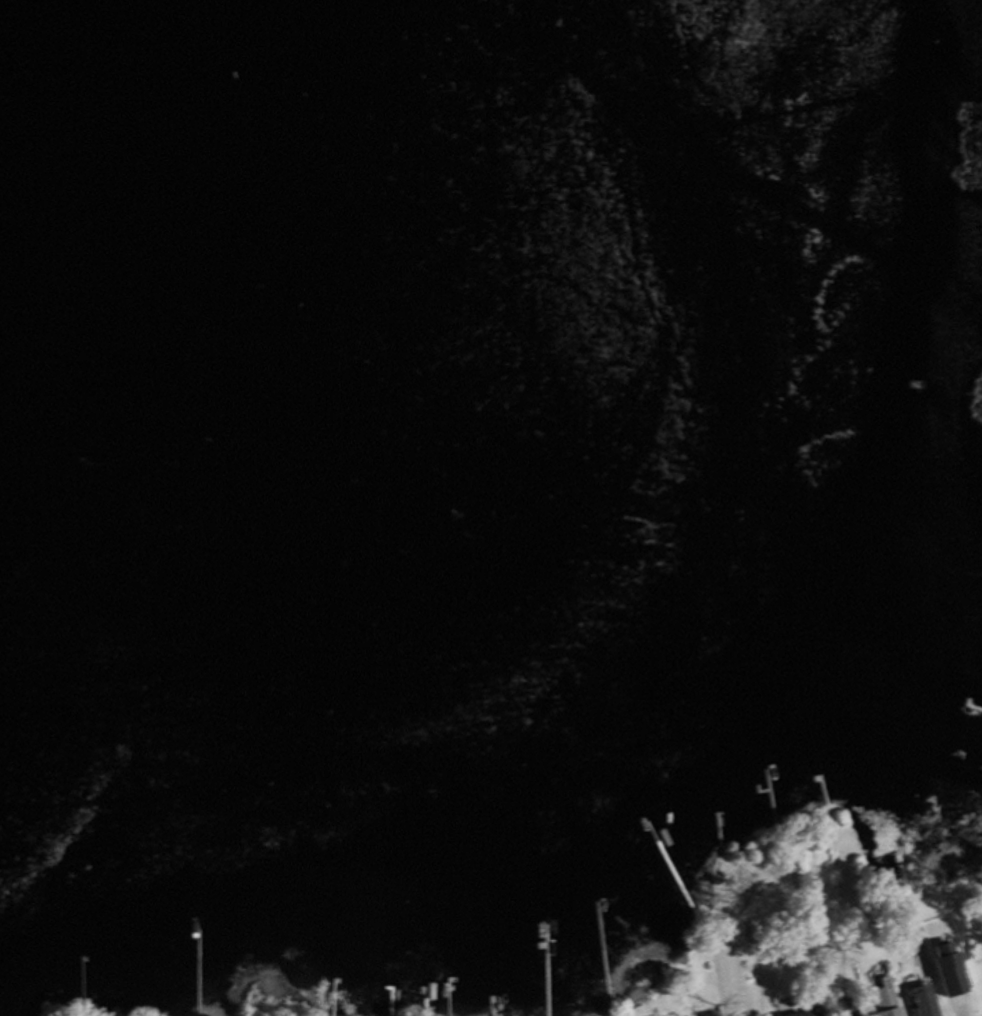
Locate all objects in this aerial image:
building: (952, 973)
building: (887, 999)
building: (925, 1001)
building: (847, 1008)
building: (804, 1014)

